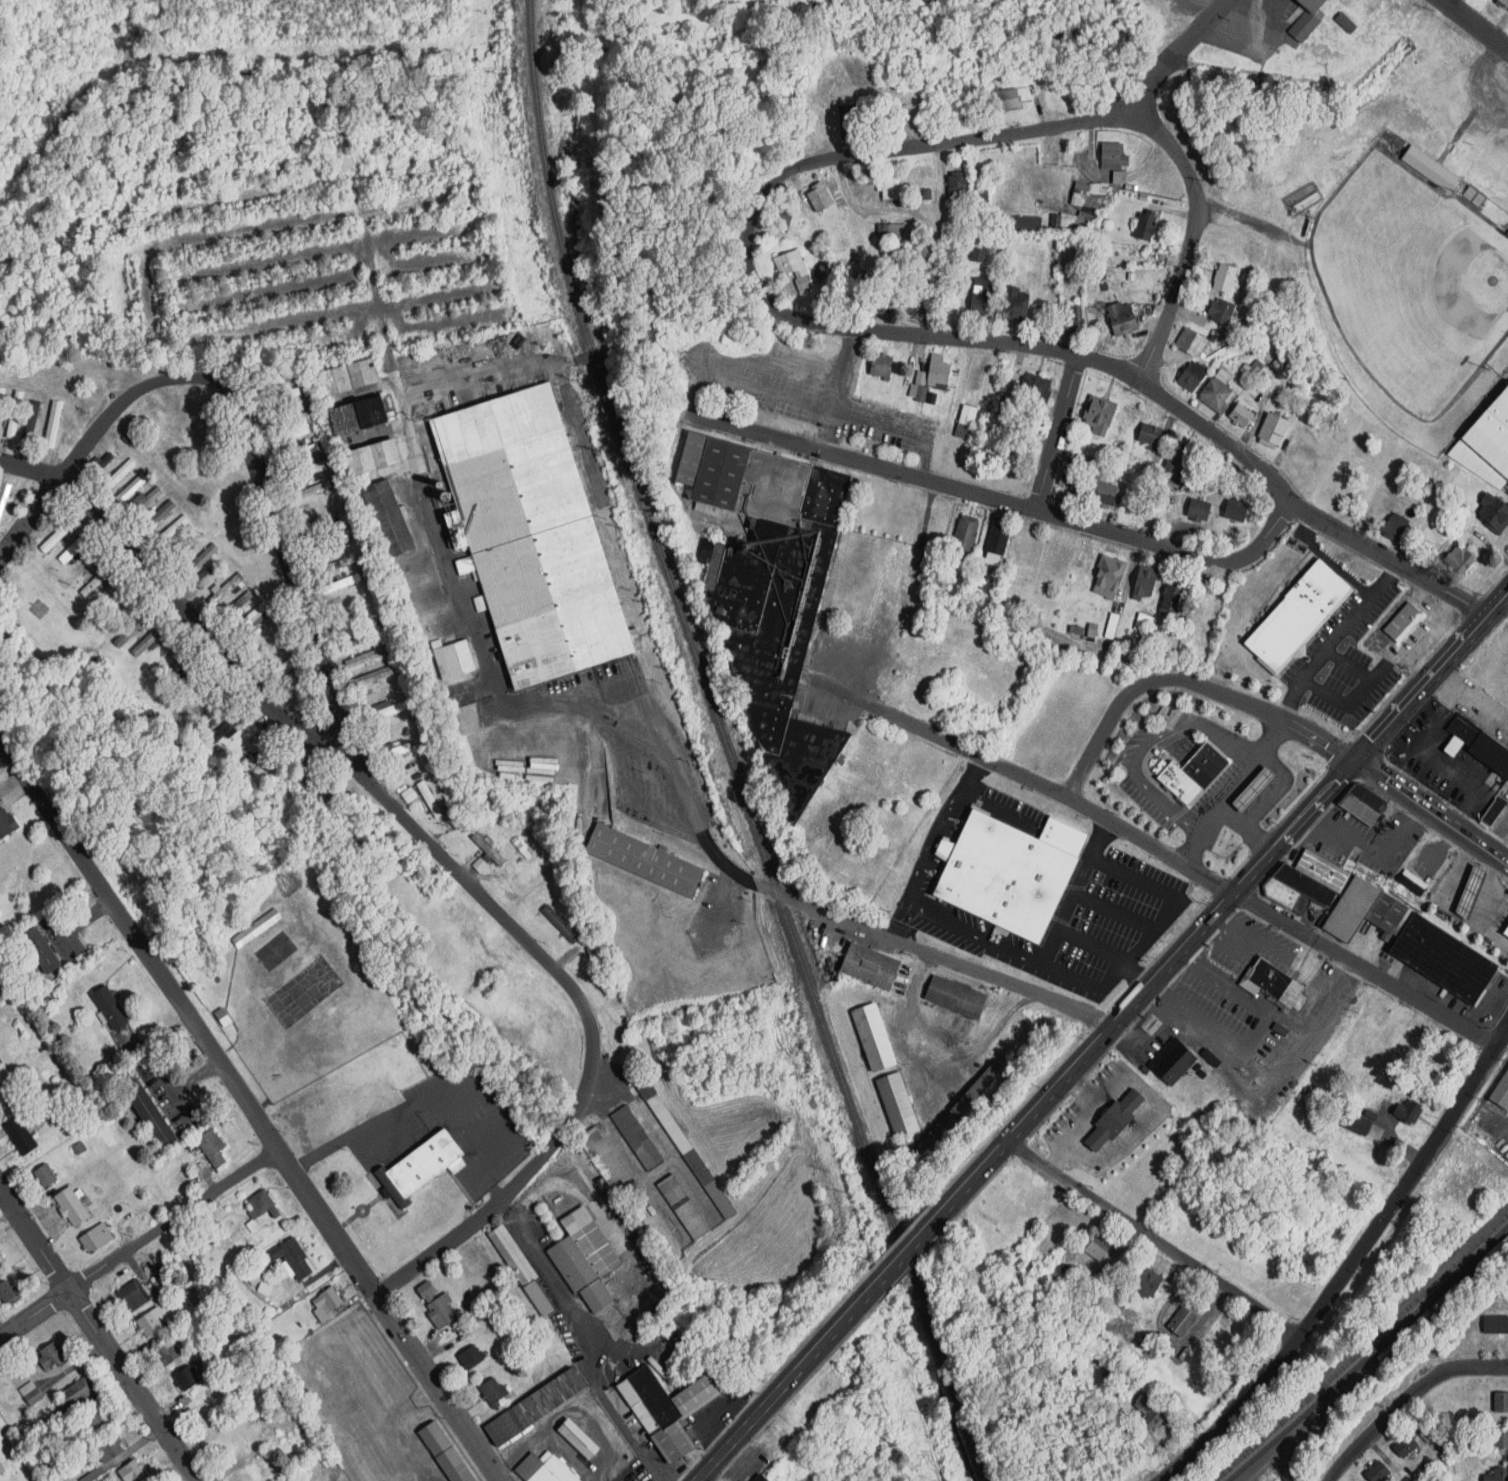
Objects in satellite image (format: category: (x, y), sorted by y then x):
building: (1504, 2)
building: (1306, 19)
building: (1346, 22)
road: (1474, 25)
road: (1181, 52)
building: (1006, 99)
building: (848, 124)
building: (1113, 158)
building: (1430, 167)
building: (1119, 176)
building: (956, 187)
building: (892, 188)
building: (1088, 193)
building: (1474, 194)
building: (819, 199)
road: (1235, 218)
building: (1065, 221)
building: (789, 223)
building: (1028, 223)
building: (1144, 226)
road: (1192, 237)
road: (749, 249)
building: (978, 253)
building: (789, 262)
building: (821, 270)
building: (1224, 278)
stadium: (1415, 287)
building: (887, 294)
building: (981, 297)
building: (1014, 303)
building: (1221, 311)
building: (1120, 319)
building: (1070, 320)
building: (1190, 342)
building: (1279, 361)
building: (880, 365)
building: (938, 371)
building: (1192, 375)
building: (349, 377)
building: (1033, 389)
road: (839, 390)
building: (922, 392)
building: (1213, 393)
building: (1, 395)
building: (280, 397)
building: (14, 415)
building: (285, 415)
building: (1240, 415)
building: (1099, 416)
building: (359, 417)
building: (966, 420)
building: (30, 421)
building: (52, 421)
road: (903, 426)
building: (1273, 429)
road: (1057, 433)
building: (290, 435)
building: (1149, 436)
building: (1487, 445)
building: (1301, 448)
building: (298, 453)
building: (373, 458)
building: (102, 463)
building: (1179, 464)
building: (304, 471)
road: (261, 473)
building: (117, 474)
building: (310, 491)
building: (1103, 493)
building: (3, 495)
building: (144, 501)
road: (1007, 502)
building: (1198, 510)
building: (1235, 510)
building: (1492, 512)
road: (1305, 513)
road: (29, 515)
building: (157, 517)
building: (388, 519)
building: (320, 527)
building: (1393, 530)
building: (169, 531)
building: (531, 535)
building: (964, 535)
building: (55, 536)
building: (996, 542)
building: (185, 547)
building: (323, 547)
building: (73, 549)
building: (200, 560)
building: (1457, 560)
road: (449, 563)
building: (334, 565)
building: (208, 578)
building: (1108, 579)
building: (95, 581)
building: (340, 583)
building: (1143, 583)
building: (224, 589)
building: (1171, 597)
building: (771, 598)
building: (480, 602)
building: (236, 604)
road: (1498, 604)
building: (1295, 616)
building: (250, 618)
building: (348, 623)
building: (1400, 623)
building: (133, 628)
building: (149, 639)
building: (356, 640)
road: (1334, 641)
building: (452, 659)
building: (177, 665)
building: (372, 676)
building: (191, 679)
road: (1189, 684)
road: (1422, 688)
road: (1361, 695)
building: (214, 711)
building: (386, 712)
building: (227, 726)
road: (1225, 734)
building: (1480, 746)
road: (1, 747)
railway: (726, 748)
building: (394, 751)
building: (255, 754)
building: (309, 759)
traffic signals: (1357, 761)
building: (1202, 765)
road: (970, 774)
road: (1138, 777)
road: (1032, 780)
building: (1178, 784)
building: (1256, 788)
road: (1276, 789)
road: (1231, 792)
building: (409, 794)
building: (1365, 798)
building: (429, 799)
road: (997, 808)
building: (1357, 809)
building: (1493, 812)
road: (1432, 815)
building: (6, 824)
road: (1246, 829)
building: (1063, 838)
building: (487, 849)
road: (437, 851)
building: (482, 861)
building: (644, 862)
building: (1320, 872)
building: (1004, 877)
building: (1302, 885)
building: (1408, 885)
building: (1472, 890)
road: (1170, 894)
building: (1284, 897)
road: (922, 908)
building: (1348, 910)
road: (1116, 911)
building: (1385, 913)
road: (1062, 922)
building: (560, 924)
building: (255, 929)
building: (1506, 932)
road: (1261, 944)
road: (138, 945)
park: (275, 950)
building: (40, 951)
road: (921, 951)
road: (1187, 958)
building: (1442, 959)
building: (869, 966)
road: (1366, 969)
road: (1071, 976)
road: (1154, 979)
building: (1275, 984)
building: (955, 997)
road: (1251, 1000)
building: (109, 1007)
road: (1153, 1029)
road: (1253, 1034)
building: (873, 1037)
road: (943, 1053)
road: (1290, 1059)
building: (1174, 1065)
road: (178, 1087)
road: (445, 1089)
building: (1500, 1092)
building: (897, 1105)
building: (145, 1109)
building: (1407, 1112)
road: (1149, 1117)
building: (955, 1119)
building: (1114, 1120)
road: (1081, 1121)
building: (1355, 1124)
building: (19, 1134)
building: (636, 1137)
building: (79, 1147)
building: (211, 1147)
building: (688, 1151)
building: (605, 1159)
building: (419, 1167)
building: (44, 1174)
road: (564, 1186)
building: (70, 1204)
building: (263, 1204)
building: (683, 1206)
building: (94, 1237)
road: (1151, 1237)
building: (591, 1241)
road: (138, 1242)
building: (1098, 1247)
road: (907, 1249)
building: (293, 1257)
building: (0, 1260)
road: (1348, 1267)
building: (521, 1271)
building: (580, 1273)
building: (1146, 1283)
building: (9, 1289)
building: (132, 1295)
building: (327, 1298)
building: (440, 1312)
road: (387, 1314)
railway: (1424, 1317)
building: (1181, 1322)
building: (149, 1323)
building: (1495, 1325)
road: (99, 1336)
railway: (1361, 1350)
building: (167, 1351)
building: (51, 1354)
railway: (1369, 1355)
building: (470, 1358)
road: (1459, 1368)
building: (185, 1377)
road: (779, 1390)
building: (30, 1392)
building: (74, 1393)
building: (492, 1393)
building: (1500, 1400)
building: (534, 1406)
building: (55, 1408)
building: (666, 1408)
building: (1150, 1411)
building: (95, 1418)
road: (625, 1424)
road: (1370, 1432)
railway: (1303, 1435)
building: (1500, 1437)
building: (578, 1438)
railway: (1293, 1438)
building: (1404, 1444)
building: (108, 1447)
building: (444, 1452)
building: (1, 1467)
building: (542, 1469)
building: (131, 1472)
building: (1377, 1472)
building: (250, 1473)
building: (1497, 1474)
building: (761, 1479)

